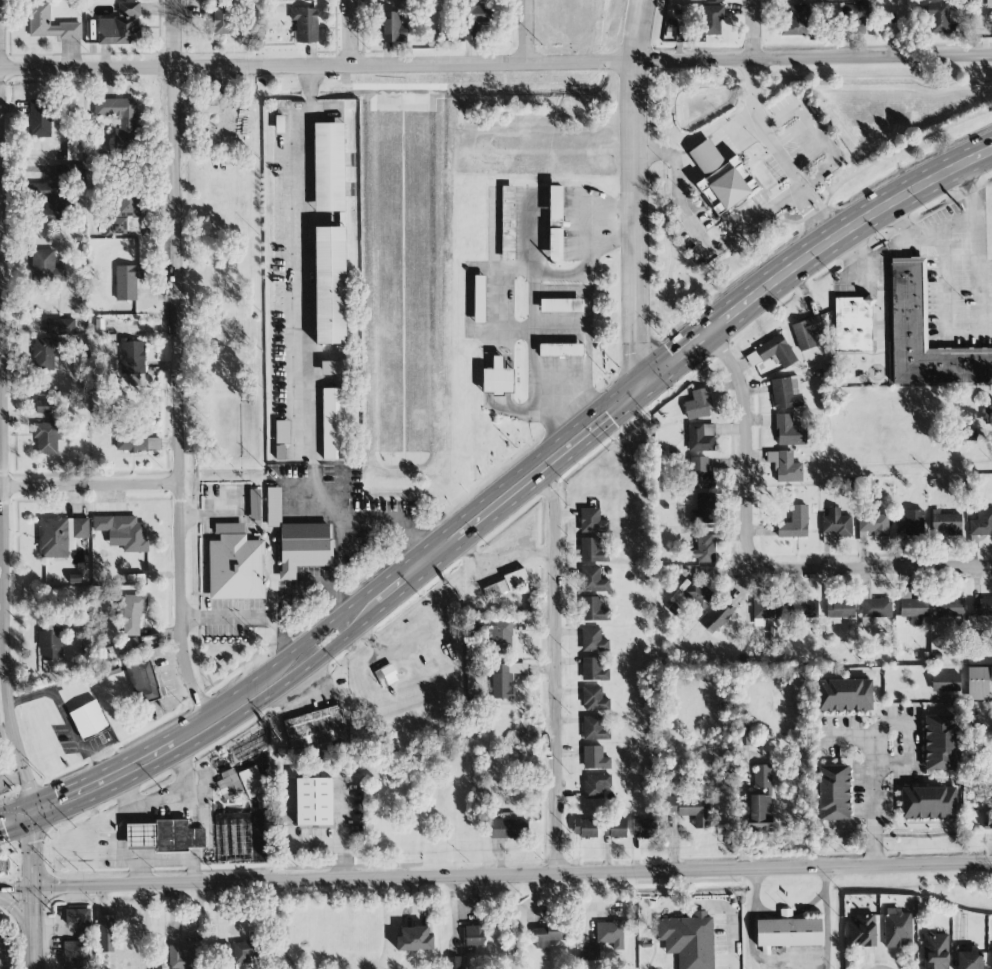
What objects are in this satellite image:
building: (714, 0)
building: (859, 0)
building: (858, 14)
building: (476, 17)
building: (219, 18)
building: (937, 18)
building: (711, 19)
building: (793, 20)
building: (49, 24)
building: (305, 25)
building: (120, 26)
building: (392, 27)
road: (899, 28)
road: (750, 29)
road: (523, 31)
road: (351, 32)
road: (971, 54)
road: (475, 63)
building: (41, 120)
building: (120, 121)
road: (733, 125)
road: (701, 147)
building: (74, 152)
road: (777, 152)
road: (682, 161)
building: (330, 167)
building: (62, 173)
building: (720, 178)
road: (635, 193)
building: (50, 202)
building: (125, 213)
building: (555, 223)
building: (510, 224)
road: (972, 226)
road: (701, 239)
road: (924, 240)
road: (807, 256)
road: (300, 265)
building: (45, 267)
road: (564, 274)
building: (127, 282)
building: (330, 285)
road: (502, 298)
building: (482, 299)
road: (946, 301)
road: (589, 303)
building: (908, 304)
building: (565, 305)
road: (533, 321)
building: (853, 325)
building: (60, 326)
road: (561, 328)
building: (806, 332)
building: (564, 350)
building: (772, 352)
building: (44, 353)
road: (182, 358)
building: (133, 361)
building: (333, 368)
building: (498, 378)
building: (786, 392)
road: (3, 402)
building: (698, 404)
building: (43, 406)
building: (988, 415)
building: (335, 424)
building: (789, 431)
building: (282, 432)
building: (969, 434)
building: (701, 437)
building: (46, 438)
building: (135, 441)
building: (281, 452)
building: (785, 466)
building: (700, 473)
road: (538, 482)
road: (91, 484)
building: (256, 505)
building: (273, 507)
building: (703, 509)
road: (339, 519)
building: (592, 521)
road: (386, 523)
building: (794, 523)
building: (836, 523)
building: (910, 523)
building: (945, 523)
building: (981, 523)
building: (873, 524)
building: (124, 531)
building: (60, 535)
building: (303, 547)
building: (705, 549)
building: (592, 551)
road: (755, 559)
road: (422, 561)
building: (235, 564)
building: (593, 580)
building: (505, 585)
road: (337, 592)
building: (694, 594)
road: (299, 596)
building: (911, 605)
building: (874, 606)
building: (982, 607)
road: (346, 608)
building: (594, 610)
building: (767, 610)
building: (801, 610)
building: (950, 610)
building: (840, 611)
building: (131, 613)
building: (716, 618)
road: (227, 620)
road: (282, 632)
building: (501, 636)
building: (593, 640)
building: (50, 647)
building: (127, 647)
building: (594, 670)
road: (557, 674)
building: (990, 674)
building: (386, 675)
road: (40, 679)
building: (142, 681)
building: (500, 682)
building: (945, 683)
building: (977, 683)
building: (844, 695)
building: (594, 699)
road: (243, 713)
road: (64, 715)
building: (91, 721)
building: (595, 728)
building: (939, 742)
road: (874, 747)
road: (103, 757)
building: (595, 758)
road: (905, 763)
building: (251, 782)
building: (229, 784)
building: (595, 785)
building: (833, 792)
building: (761, 801)
building: (315, 802)
building: (928, 803)
road: (17, 807)
building: (688, 808)
road: (36, 812)
building: (989, 820)
building: (508, 827)
building: (585, 828)
building: (615, 828)
building: (643, 828)
road: (18, 829)
building: (163, 837)
building: (232, 837)
road: (34, 854)
road: (512, 874)
road: (17, 887)
road: (711, 904)
building: (77, 917)
road: (34, 928)
building: (897, 928)
building: (863, 930)
building: (788, 932)
building: (106, 934)
building: (610, 934)
building: (548, 935)
building: (473, 936)
building: (414, 939)
building: (688, 939)
building: (935, 951)
building: (590, 953)
building: (241, 954)
building: (73, 955)
building: (185, 957)
building: (969, 960)
building: (453, 963)
road: (790, 968)

